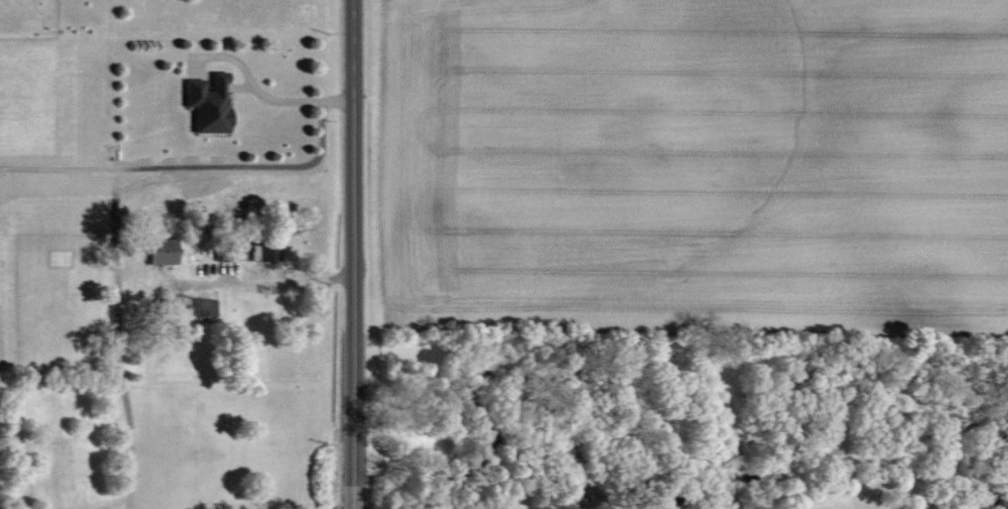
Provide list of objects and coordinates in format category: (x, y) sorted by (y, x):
road: (247, 77)
building: (212, 103)
road: (204, 164)
building: (166, 251)
building: (265, 252)
road: (357, 254)
road: (259, 282)
building: (206, 310)

